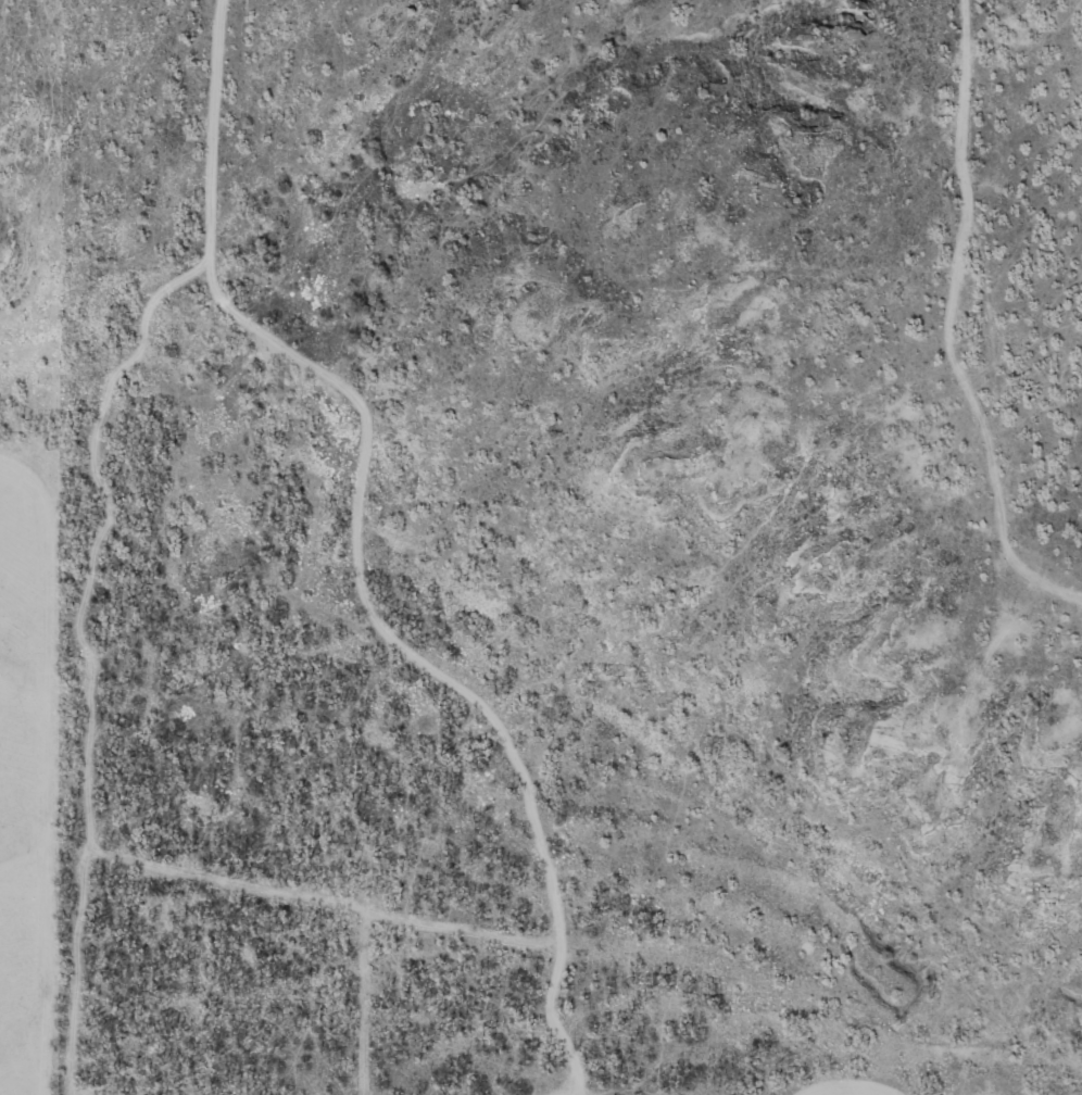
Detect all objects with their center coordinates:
road: (928, 127)
road: (197, 165)
road: (51, 748)

